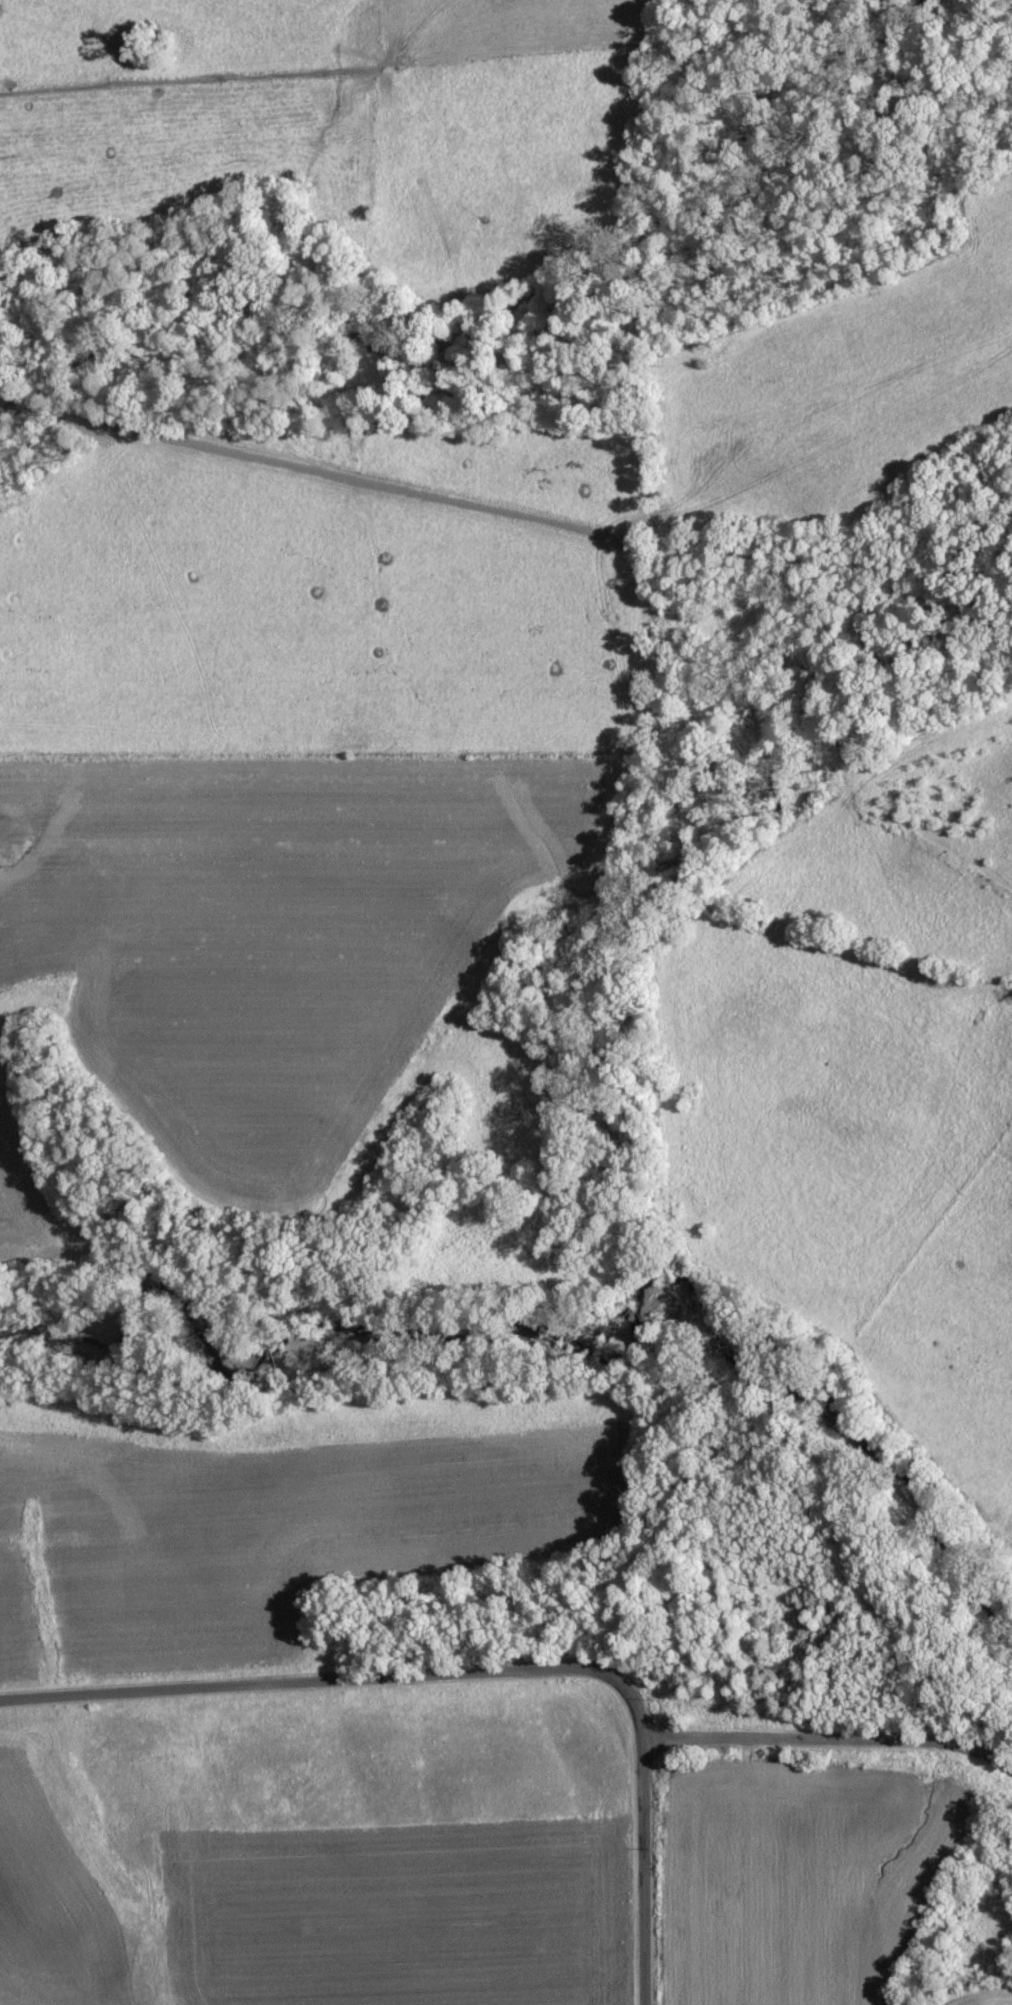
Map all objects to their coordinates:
road: (526, 1669)
road: (645, 1872)

